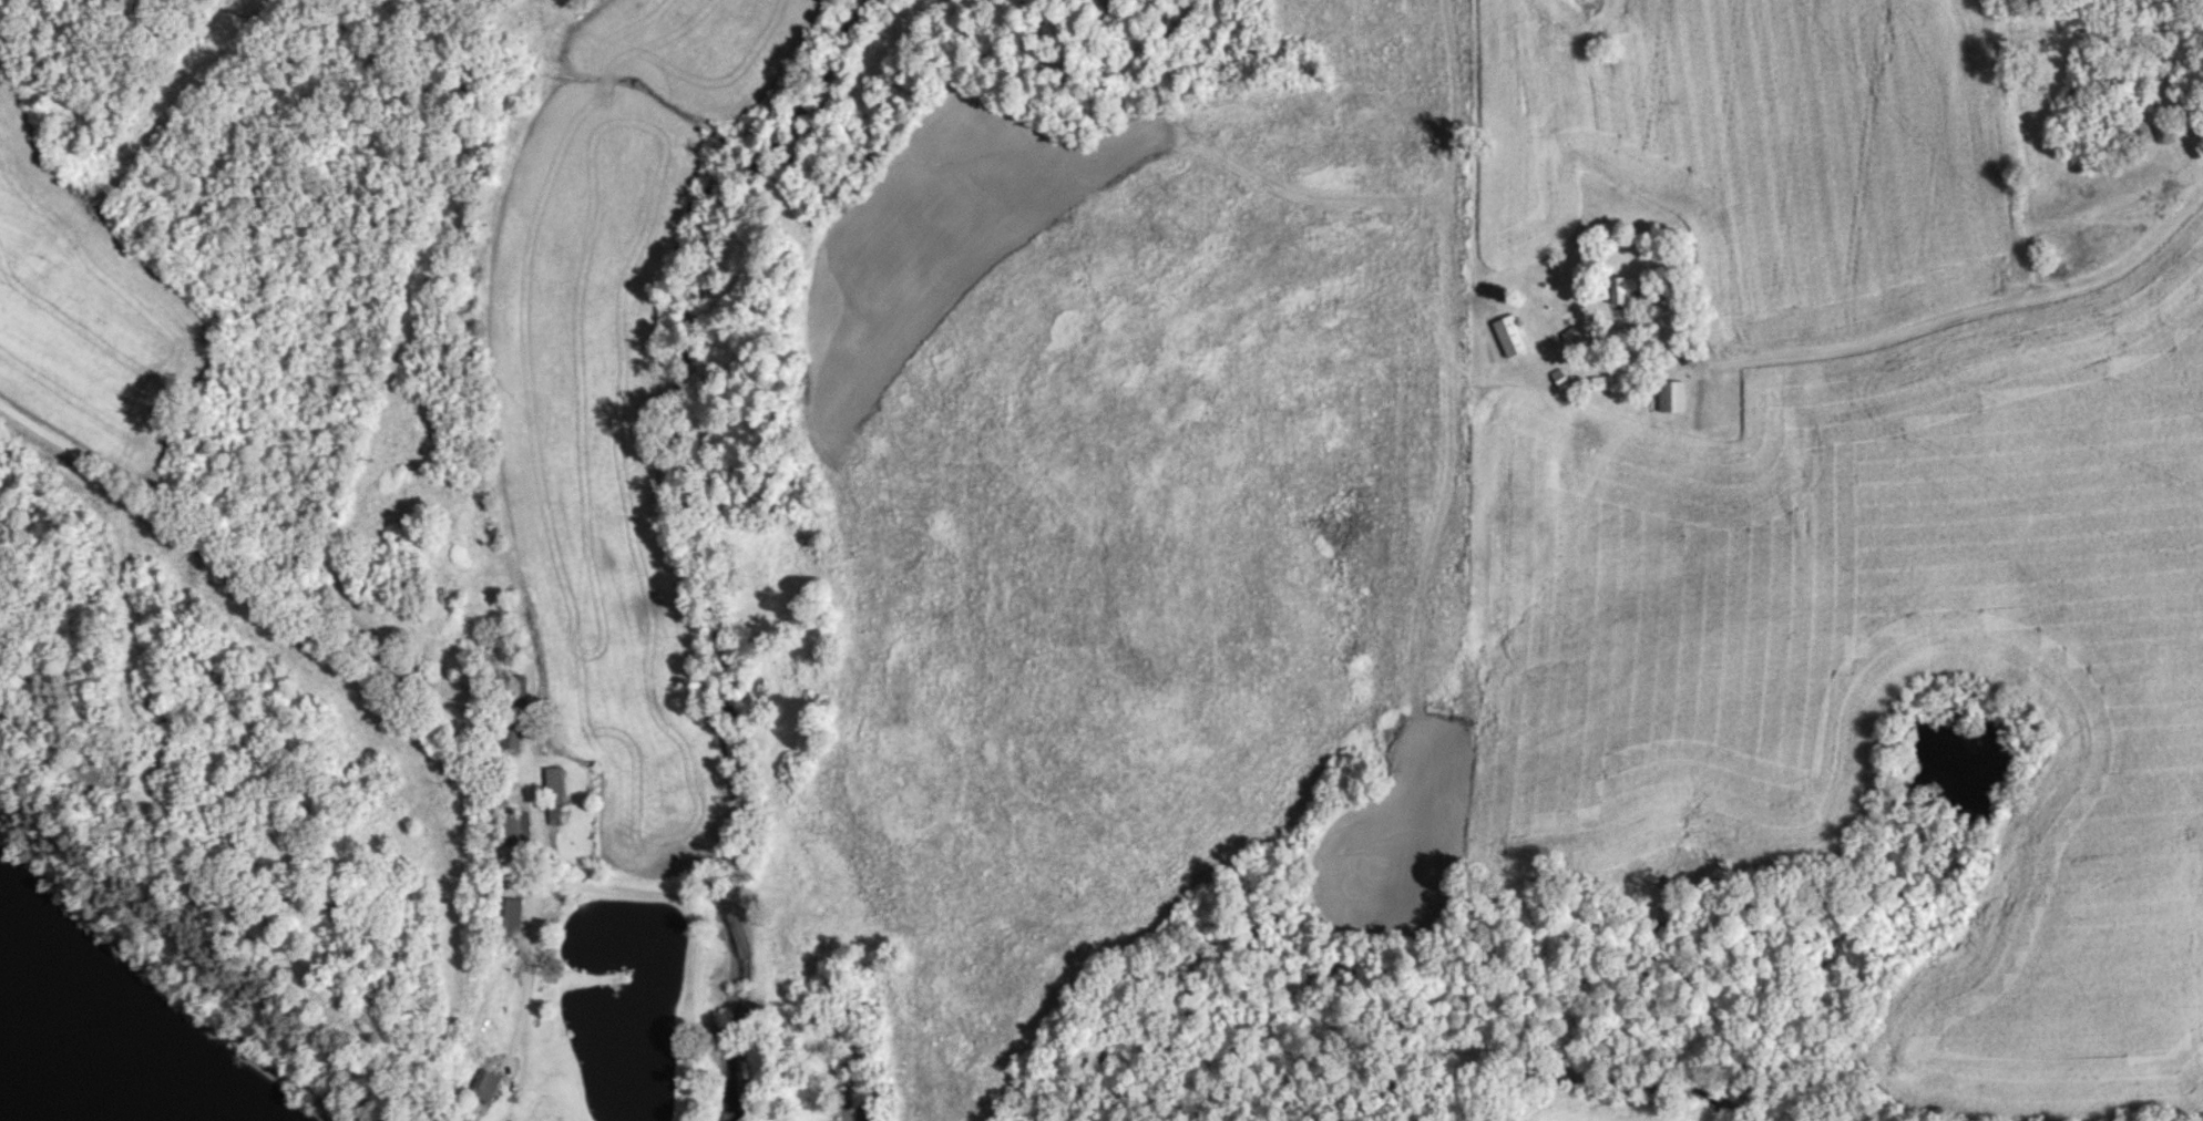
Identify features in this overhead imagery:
building: (1622, 287)
building: (508, 291)
road: (1954, 316)
road: (469, 321)
building: (1509, 335)
building: (1602, 380)
building: (1671, 394)
road: (255, 542)
building: (511, 711)
building: (553, 784)
road: (533, 821)
building: (508, 826)
building: (505, 915)
building: (483, 1084)

